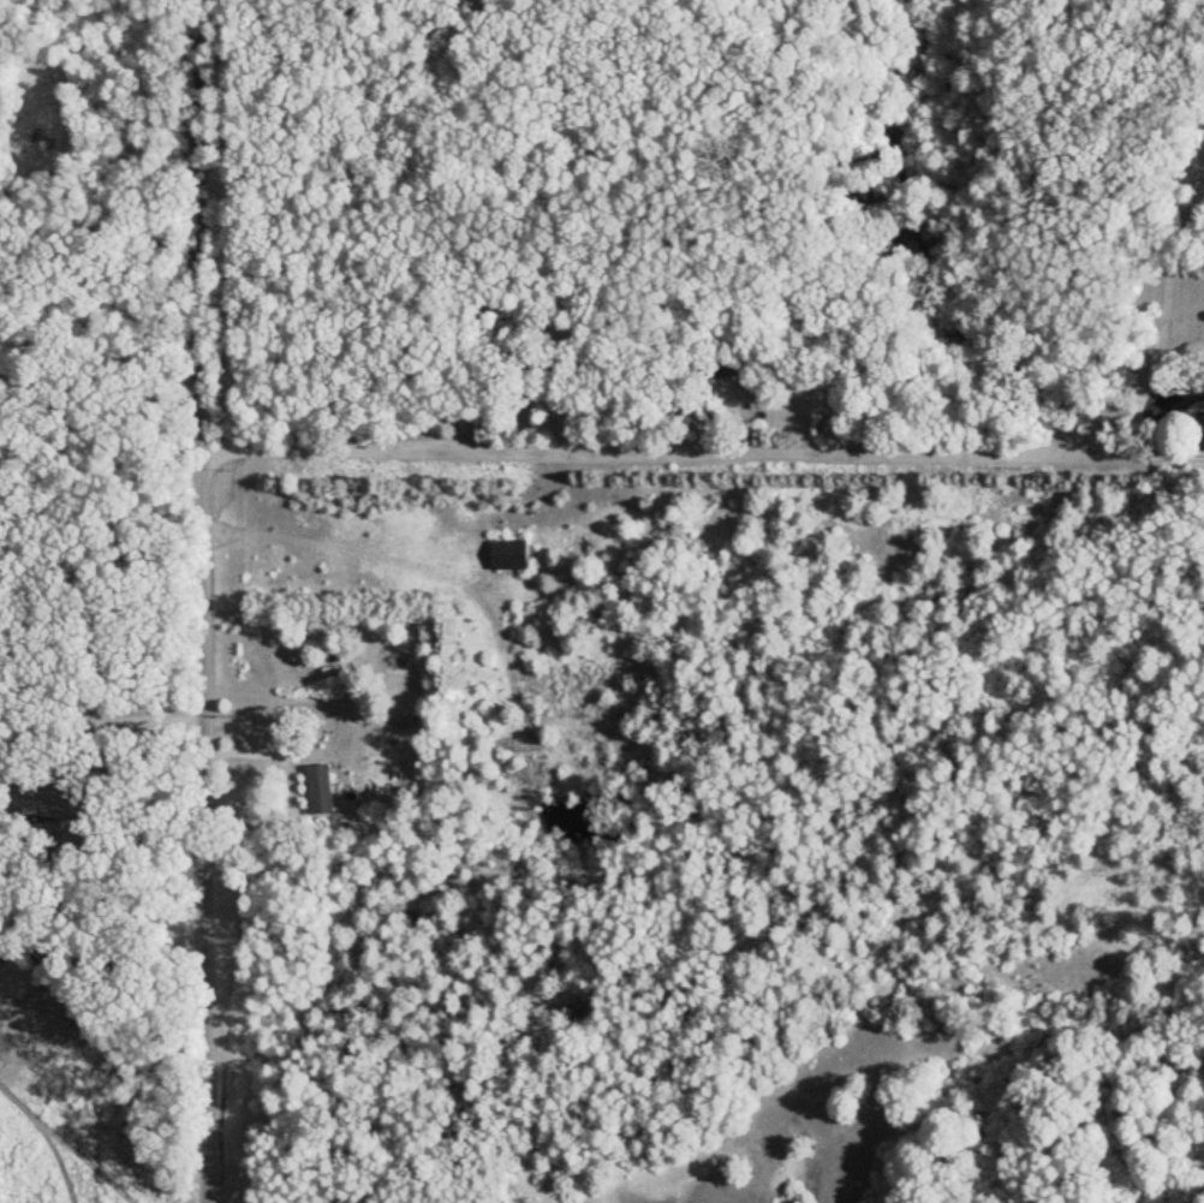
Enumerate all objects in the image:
road: (102, 256)
road: (1162, 323)
road: (630, 454)
road: (495, 573)
road: (199, 601)
road: (127, 714)
building: (381, 716)
road: (341, 733)
building: (317, 791)

